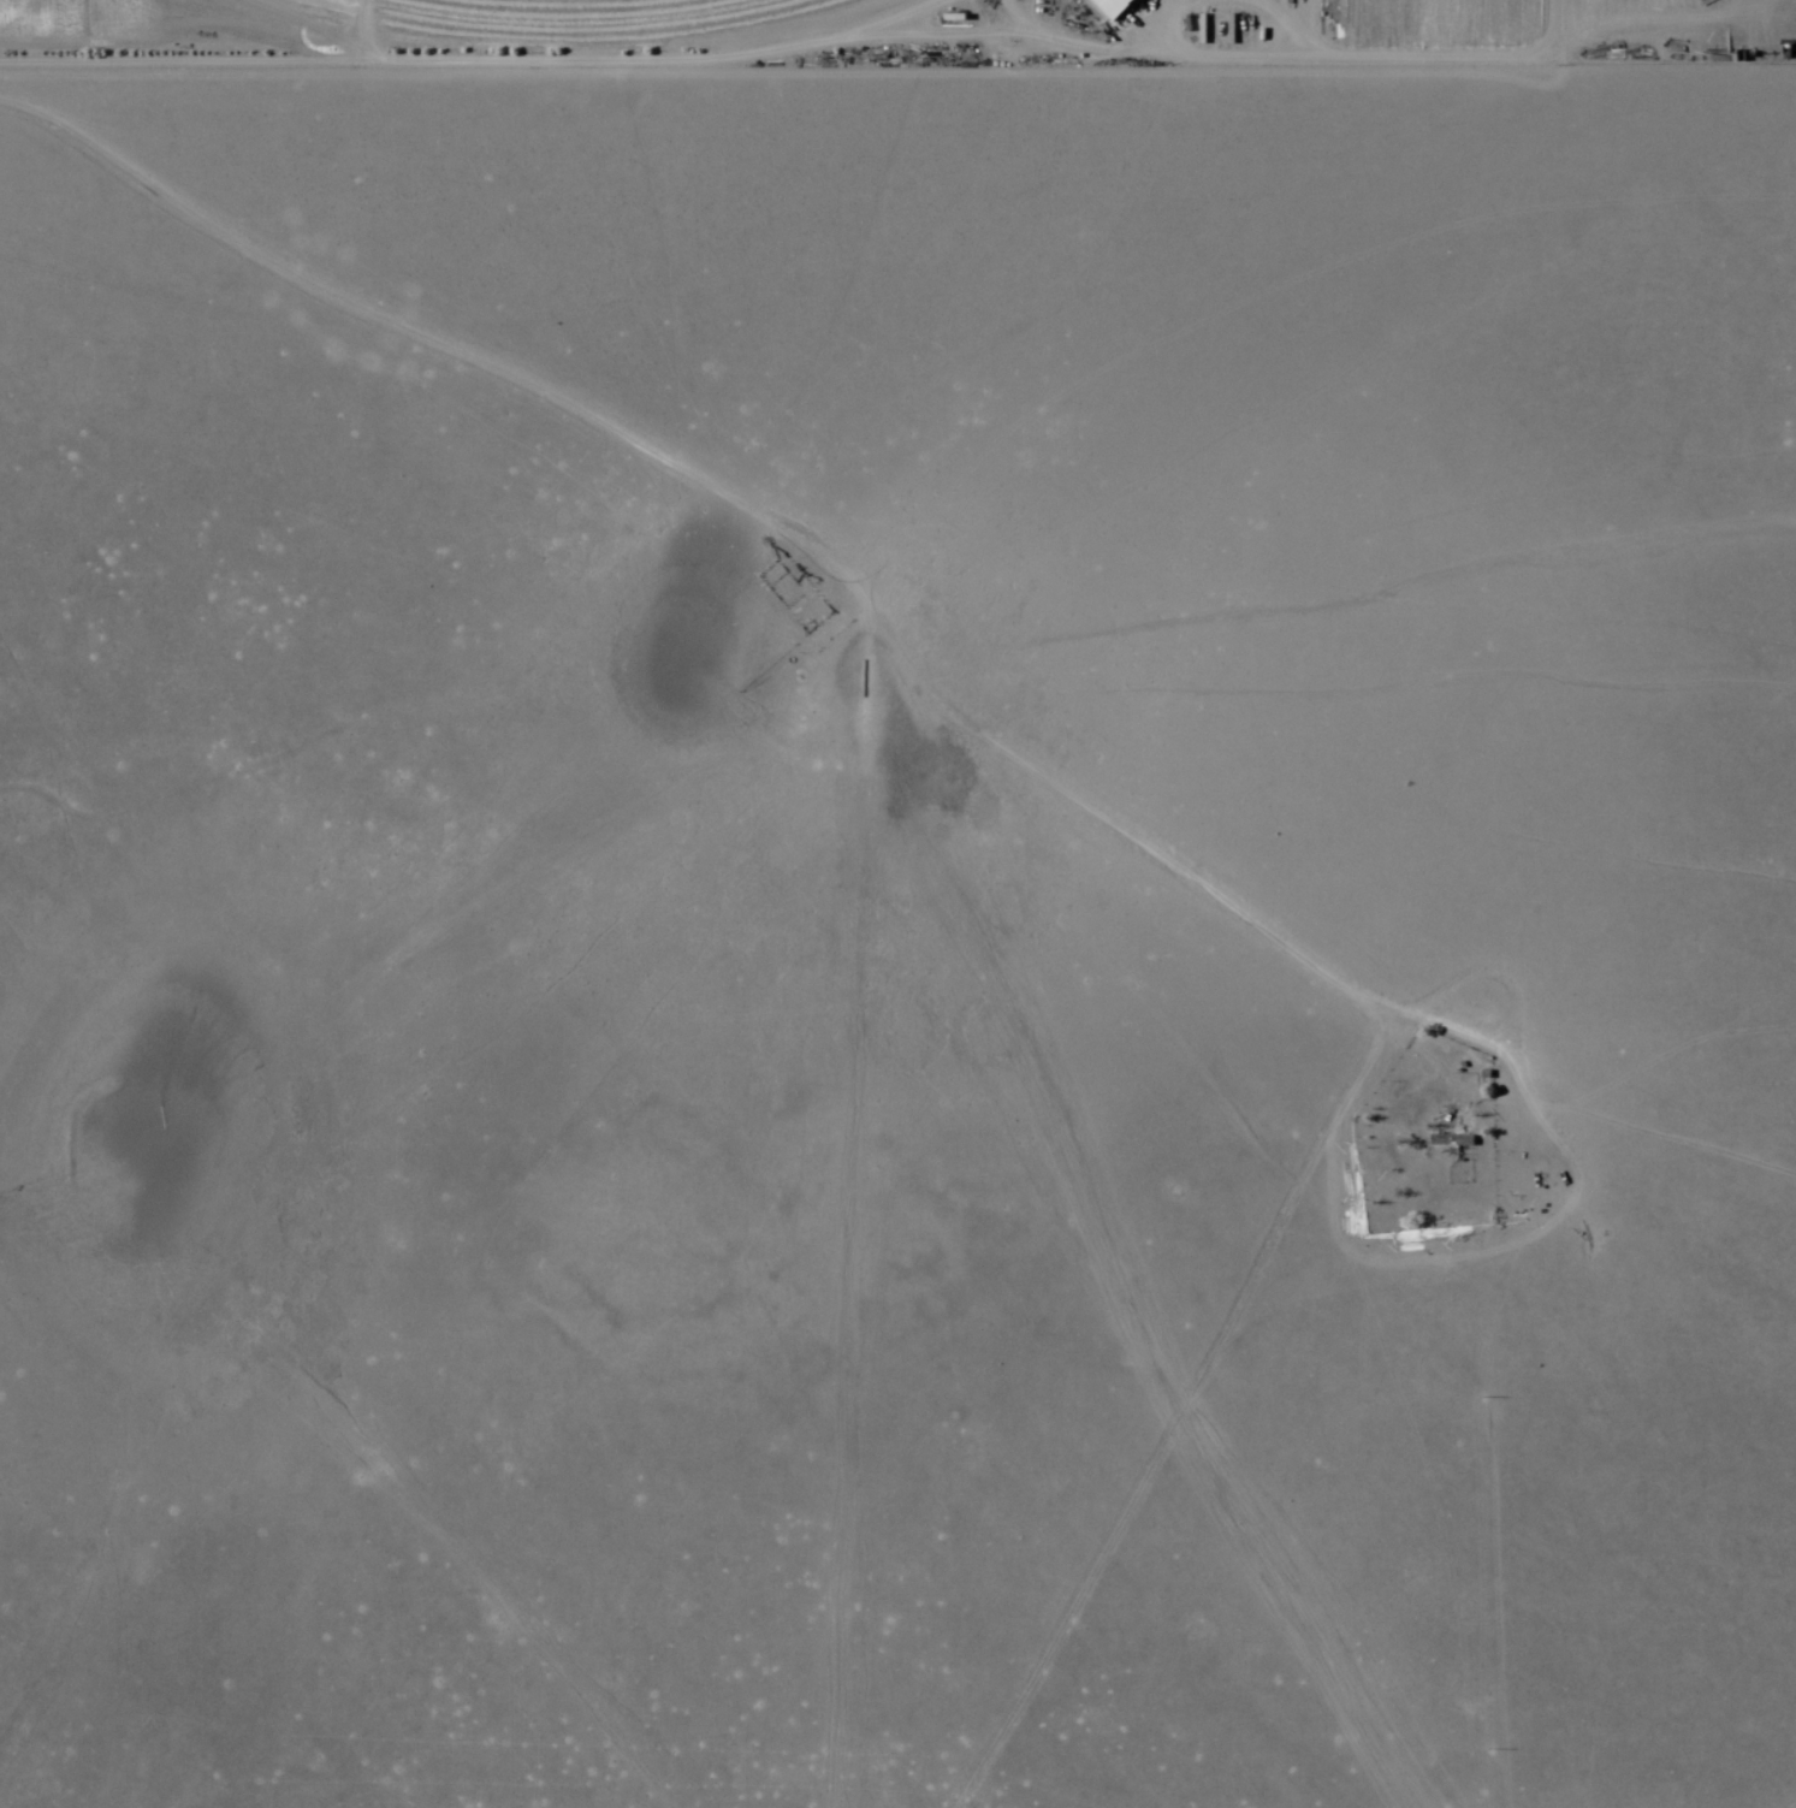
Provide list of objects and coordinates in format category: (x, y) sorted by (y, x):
building: (1115, 8)
building: (1452, 1142)

